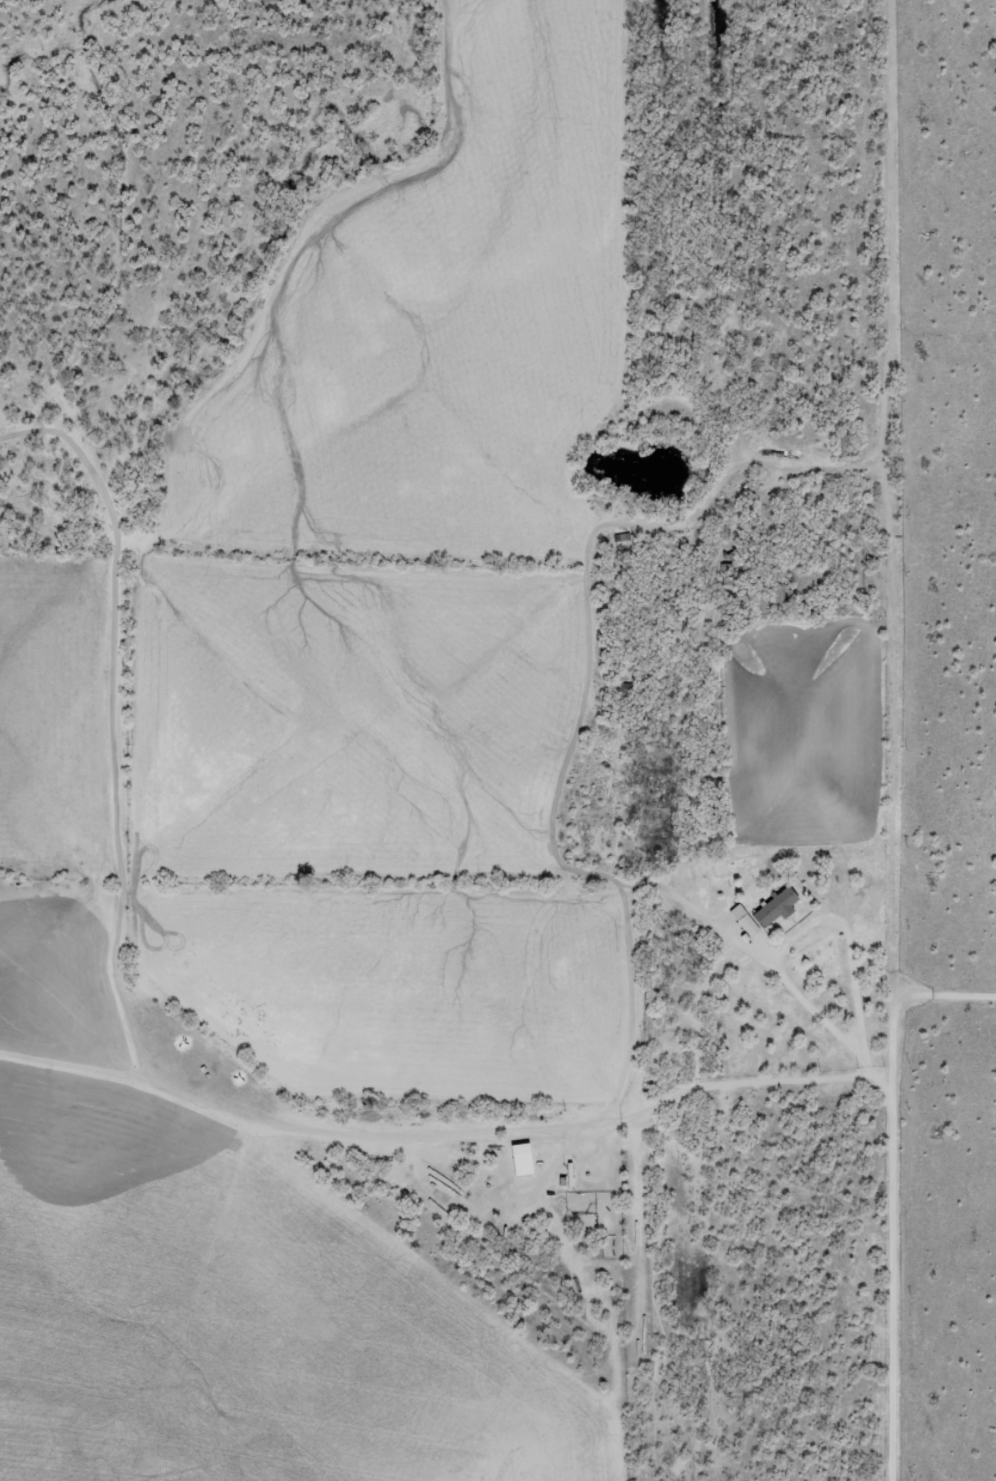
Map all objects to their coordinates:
building: (778, 595)
road: (926, 740)
building: (762, 914)
road: (962, 1019)

